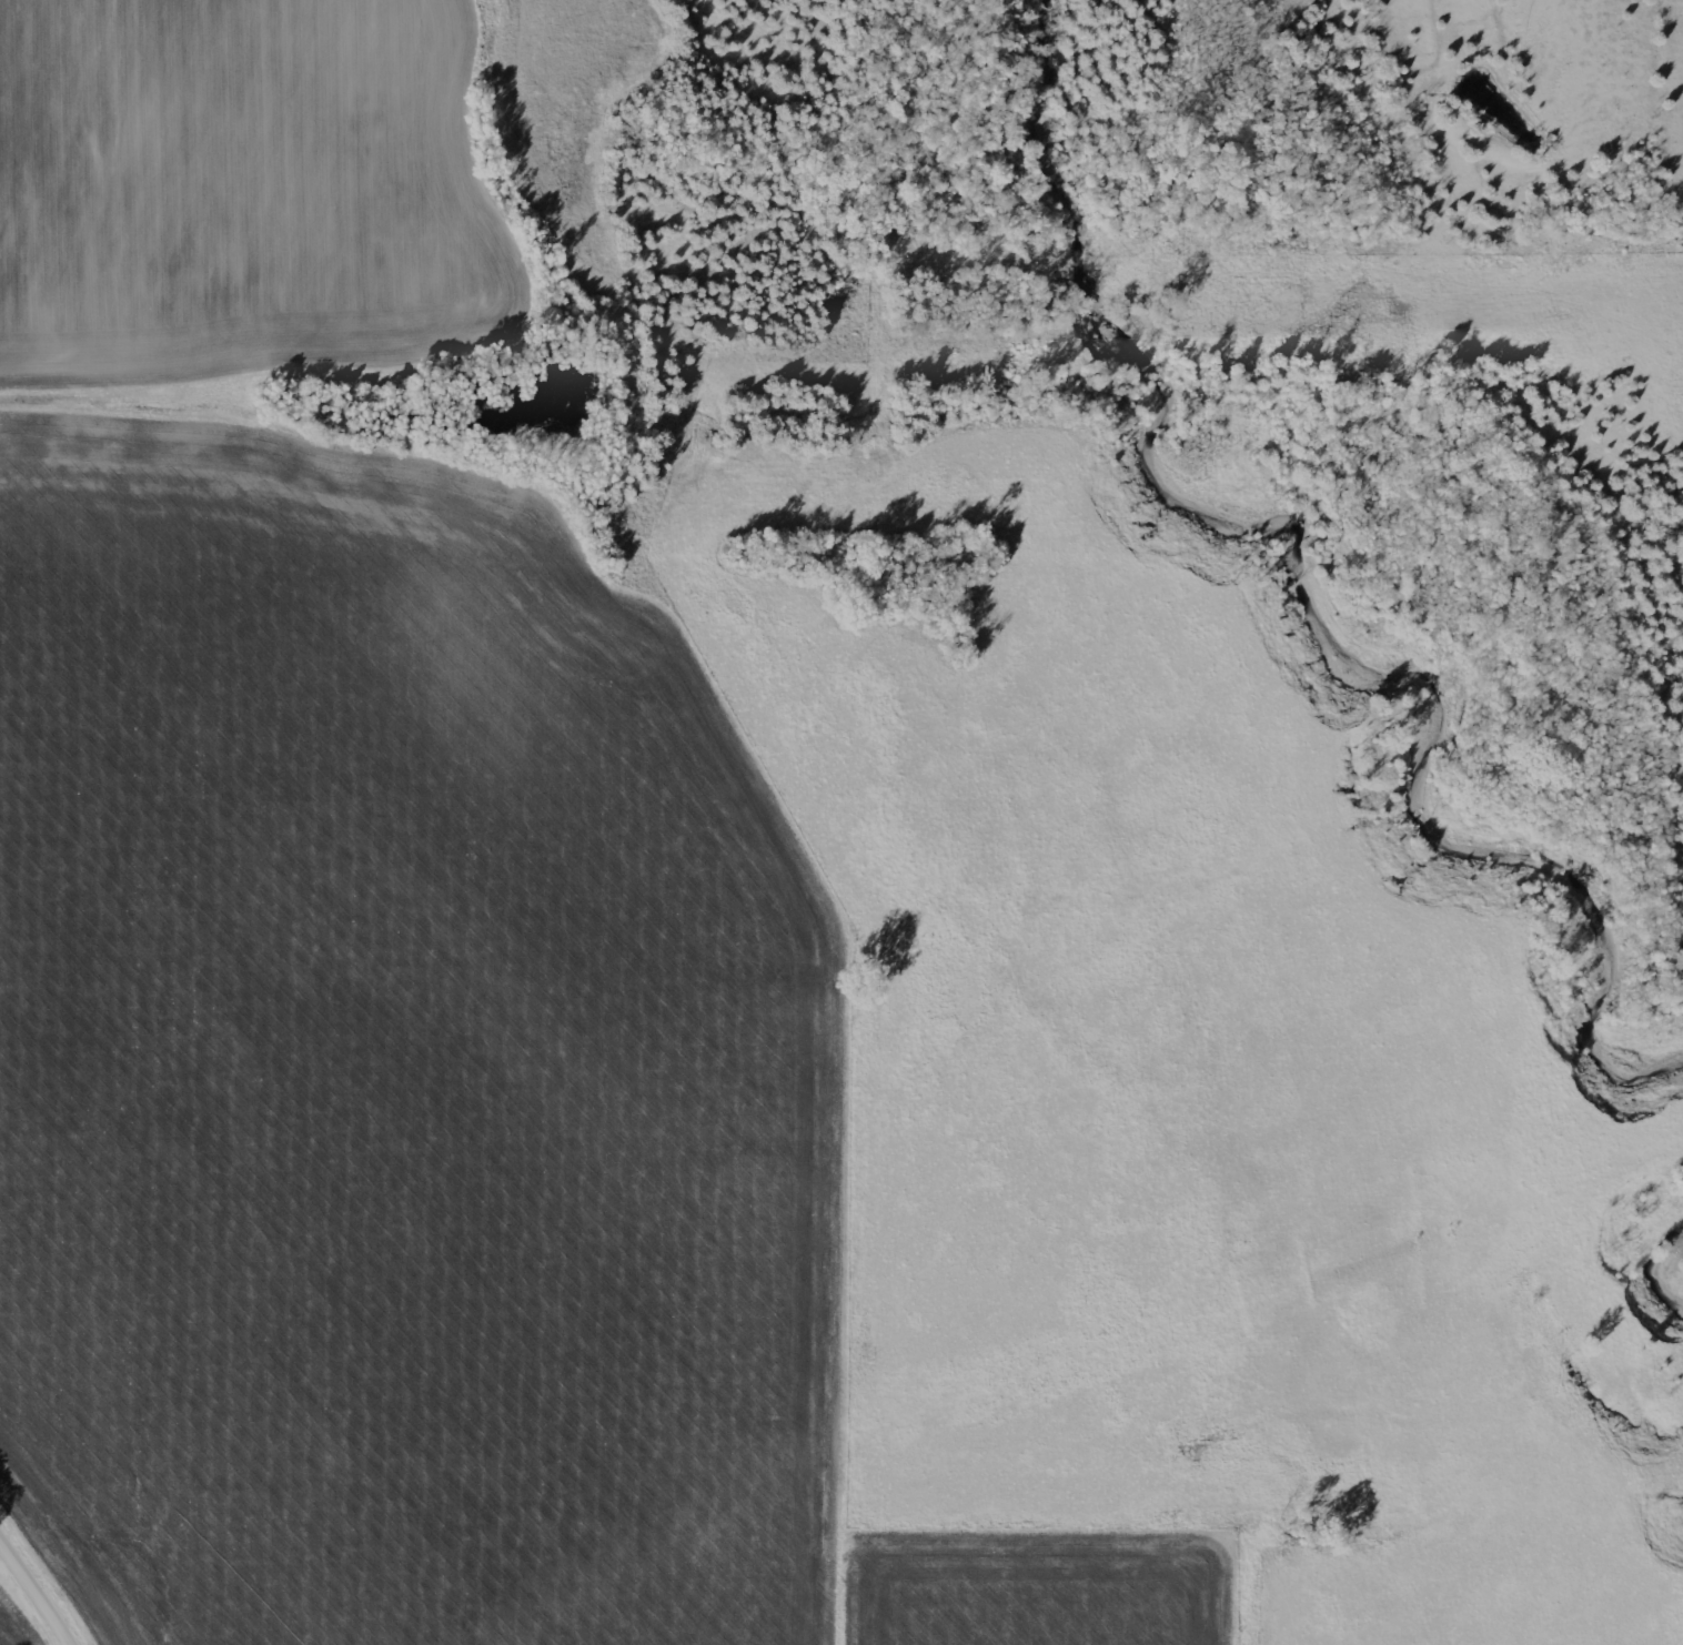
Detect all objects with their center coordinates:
road: (37, 1593)

